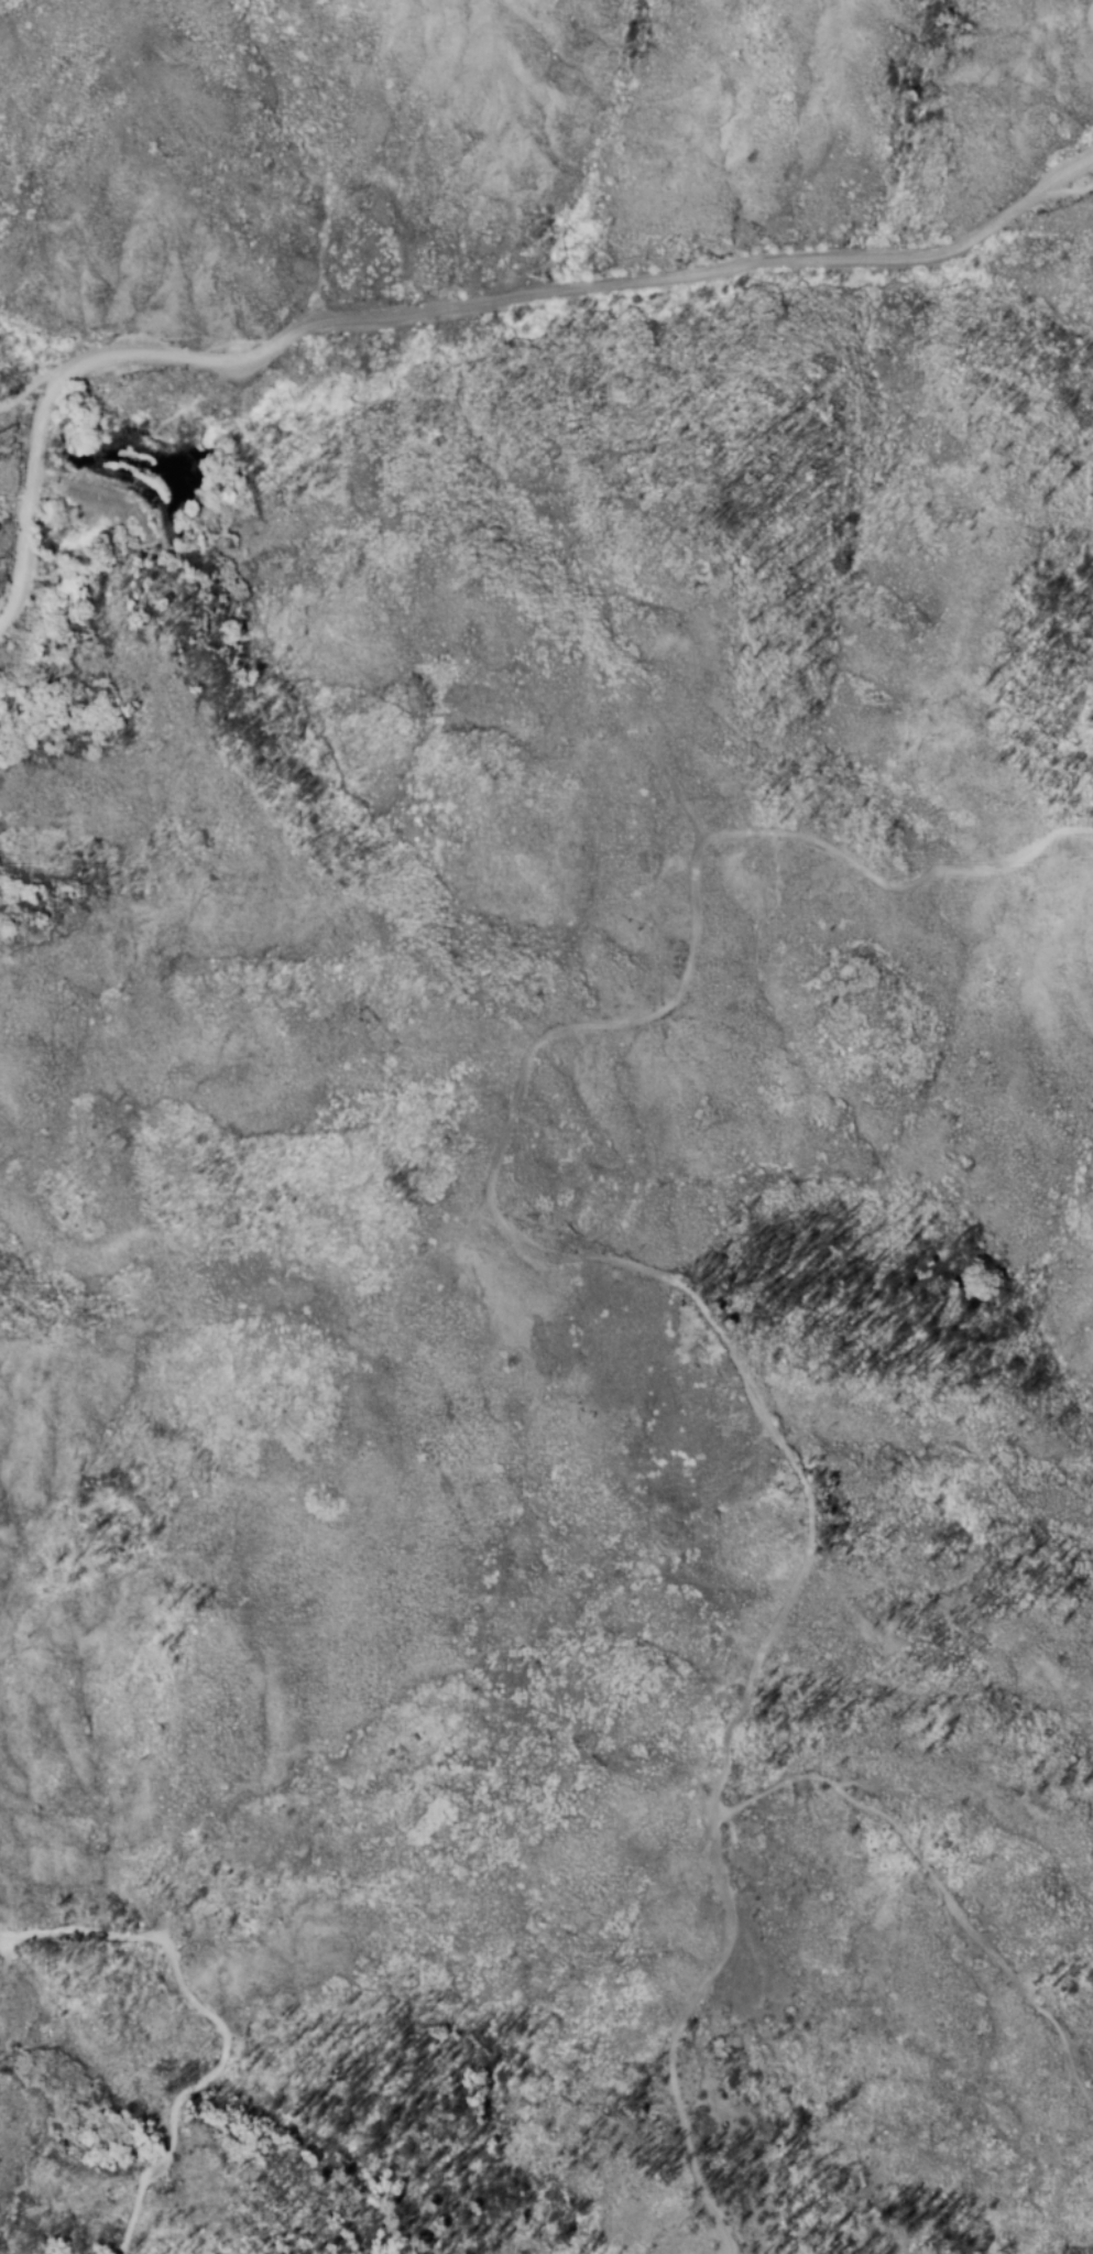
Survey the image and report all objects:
road: (1063, 197)
road: (583, 288)
road: (32, 390)
road: (99, 493)
road: (25, 497)
road: (659, 760)
road: (937, 1880)

